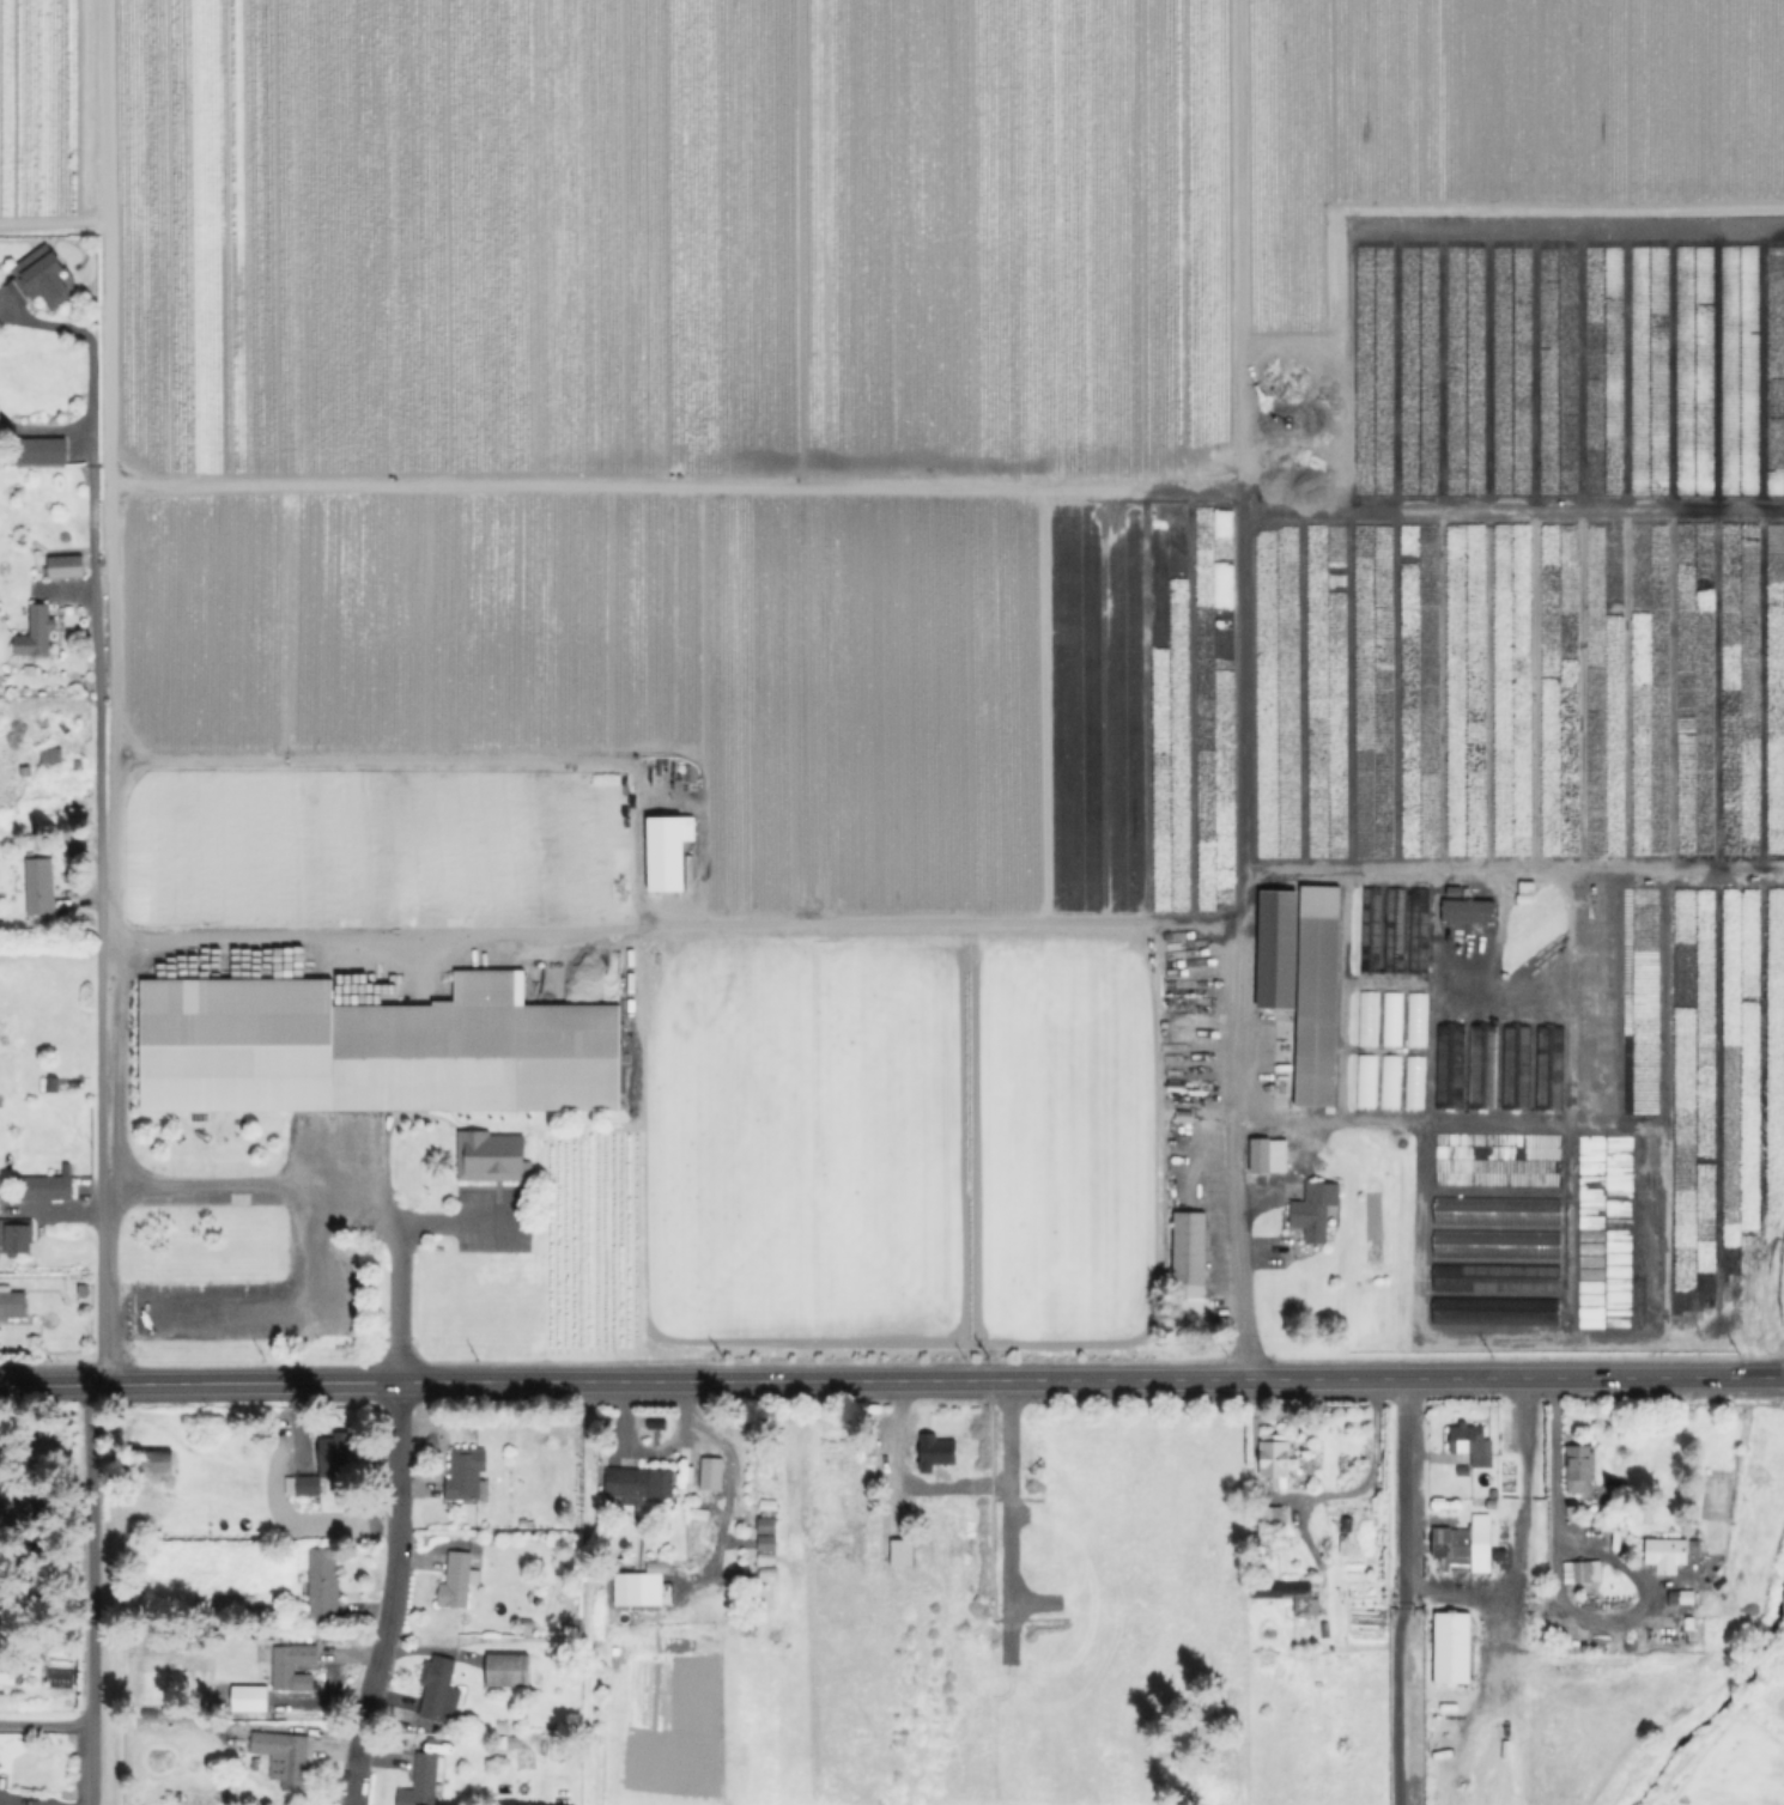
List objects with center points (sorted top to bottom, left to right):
road: (105, 242)
building: (45, 276)
building: (43, 451)
building: (66, 565)
building: (38, 630)
building: (51, 755)
building: (662, 852)
road: (103, 874)
building: (41, 888)
building: (1464, 910)
road: (898, 920)
building: (1416, 930)
building: (1318, 997)
building: (1365, 1016)
building: (1389, 1017)
building: (1413, 1017)
building: (372, 1050)
building: (1363, 1080)
building: (1388, 1080)
road: (1390, 1118)
building: (1268, 1155)
building: (493, 1159)
building: (47, 1190)
road: (330, 1196)
building: (1316, 1211)
road: (448, 1233)
building: (16, 1240)
building: (1187, 1250)
building: (12, 1306)
road: (892, 1380)
building: (1470, 1444)
building: (936, 1452)
building: (334, 1453)
building: (1275, 1458)
building: (157, 1460)
building: (1576, 1470)
building: (711, 1471)
building: (468, 1472)
building: (644, 1483)
building: (305, 1487)
building: (19, 1508)
building: (1269, 1515)
building: (764, 1524)
building: (764, 1540)
road: (1518, 1542)
building: (1464, 1544)
building: (902, 1549)
building: (1665, 1555)
building: (1579, 1570)
building: (455, 1581)
building: (326, 1587)
building: (629, 1590)
road: (1400, 1590)
road: (97, 1593)
road: (394, 1594)
road: (1555, 1594)
building: (1293, 1596)
road: (1535, 1602)
building: (229, 1603)
crop: (993, 1606)
building: (1667, 1628)
building: (1452, 1648)
building: (295, 1669)
building: (509, 1671)
building: (10, 1672)
building: (61, 1676)
building: (437, 1692)
building: (247, 1697)
road: (47, 1722)
building: (287, 1757)
building: (424, 1780)

